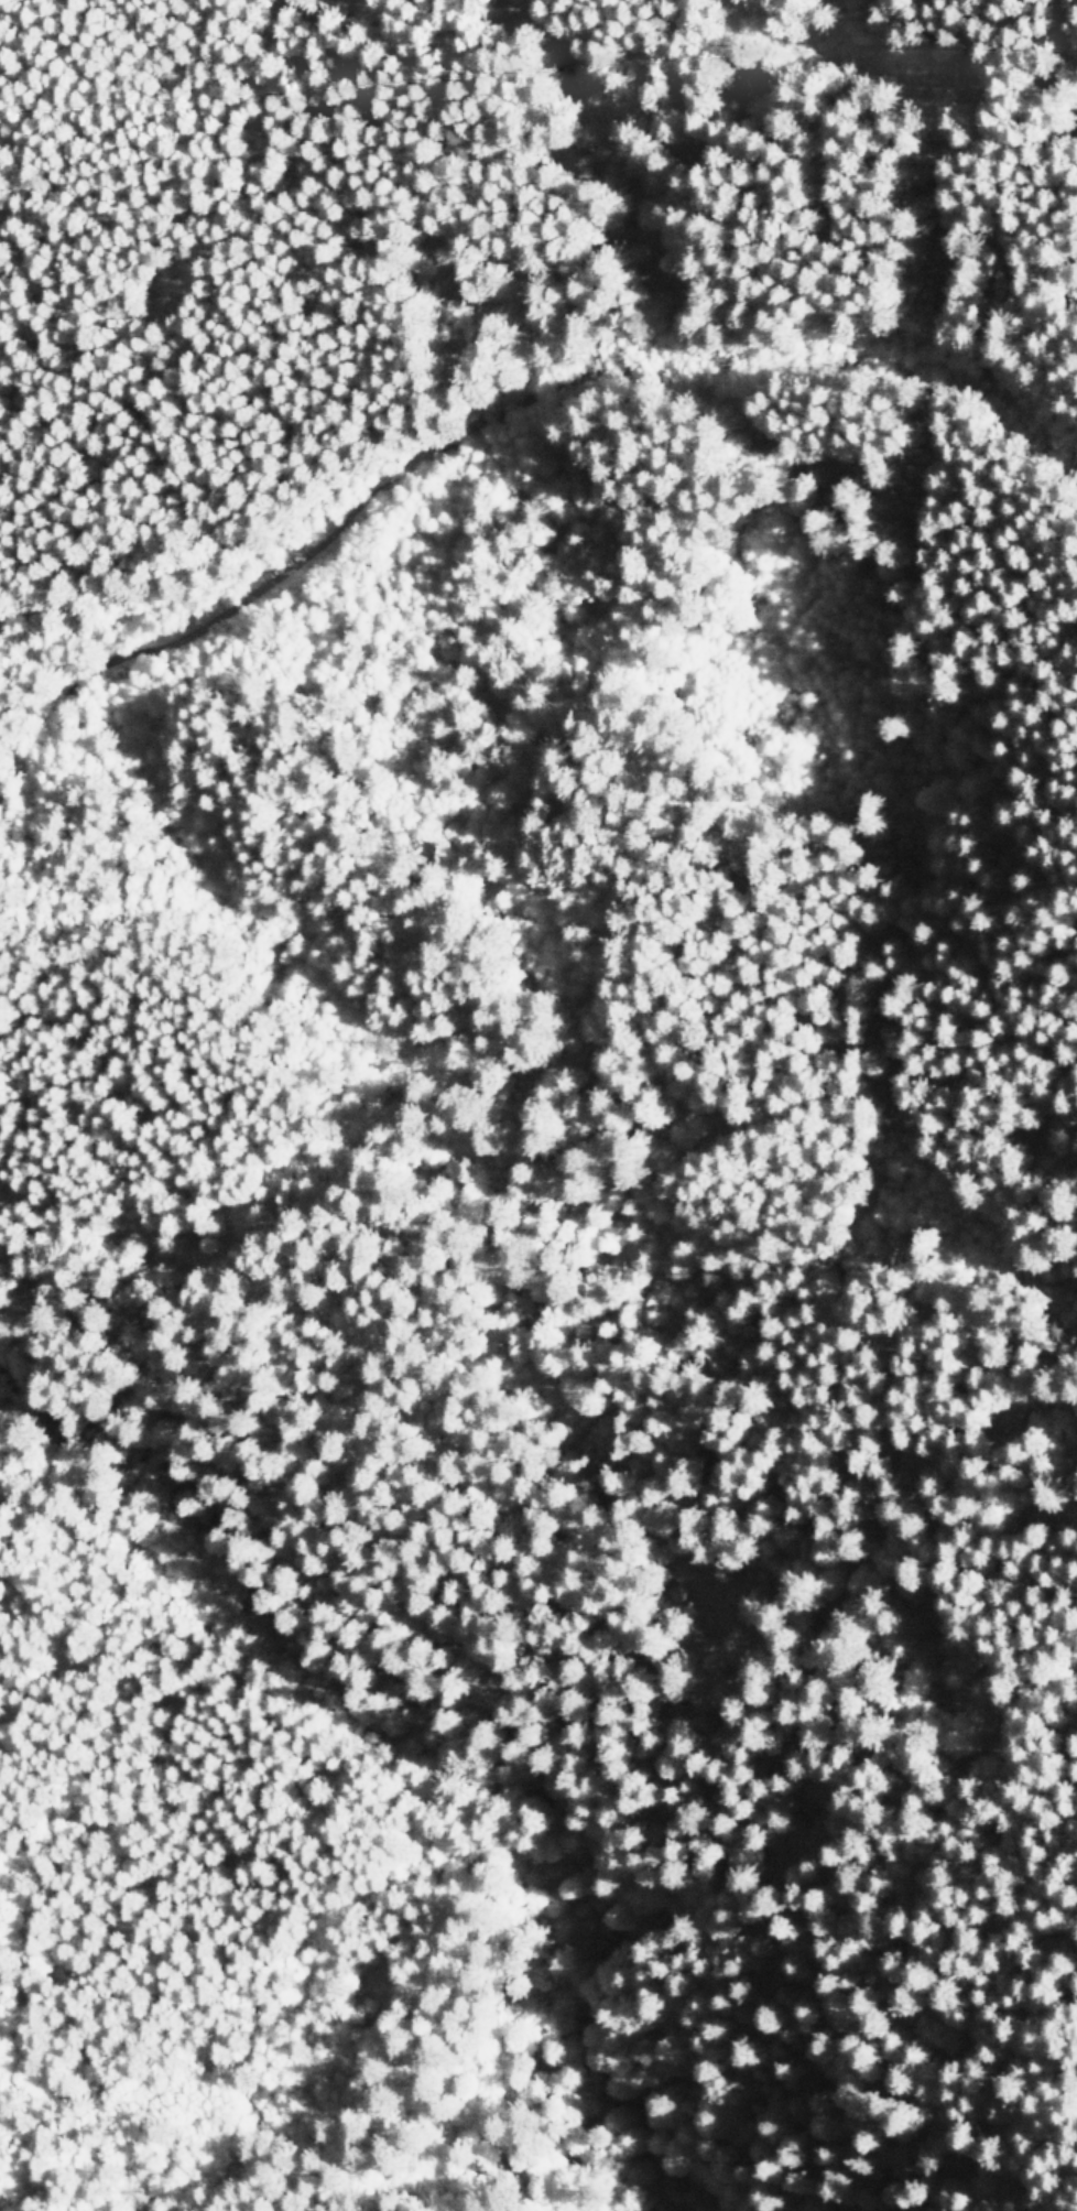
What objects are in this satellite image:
road: (500, 412)

